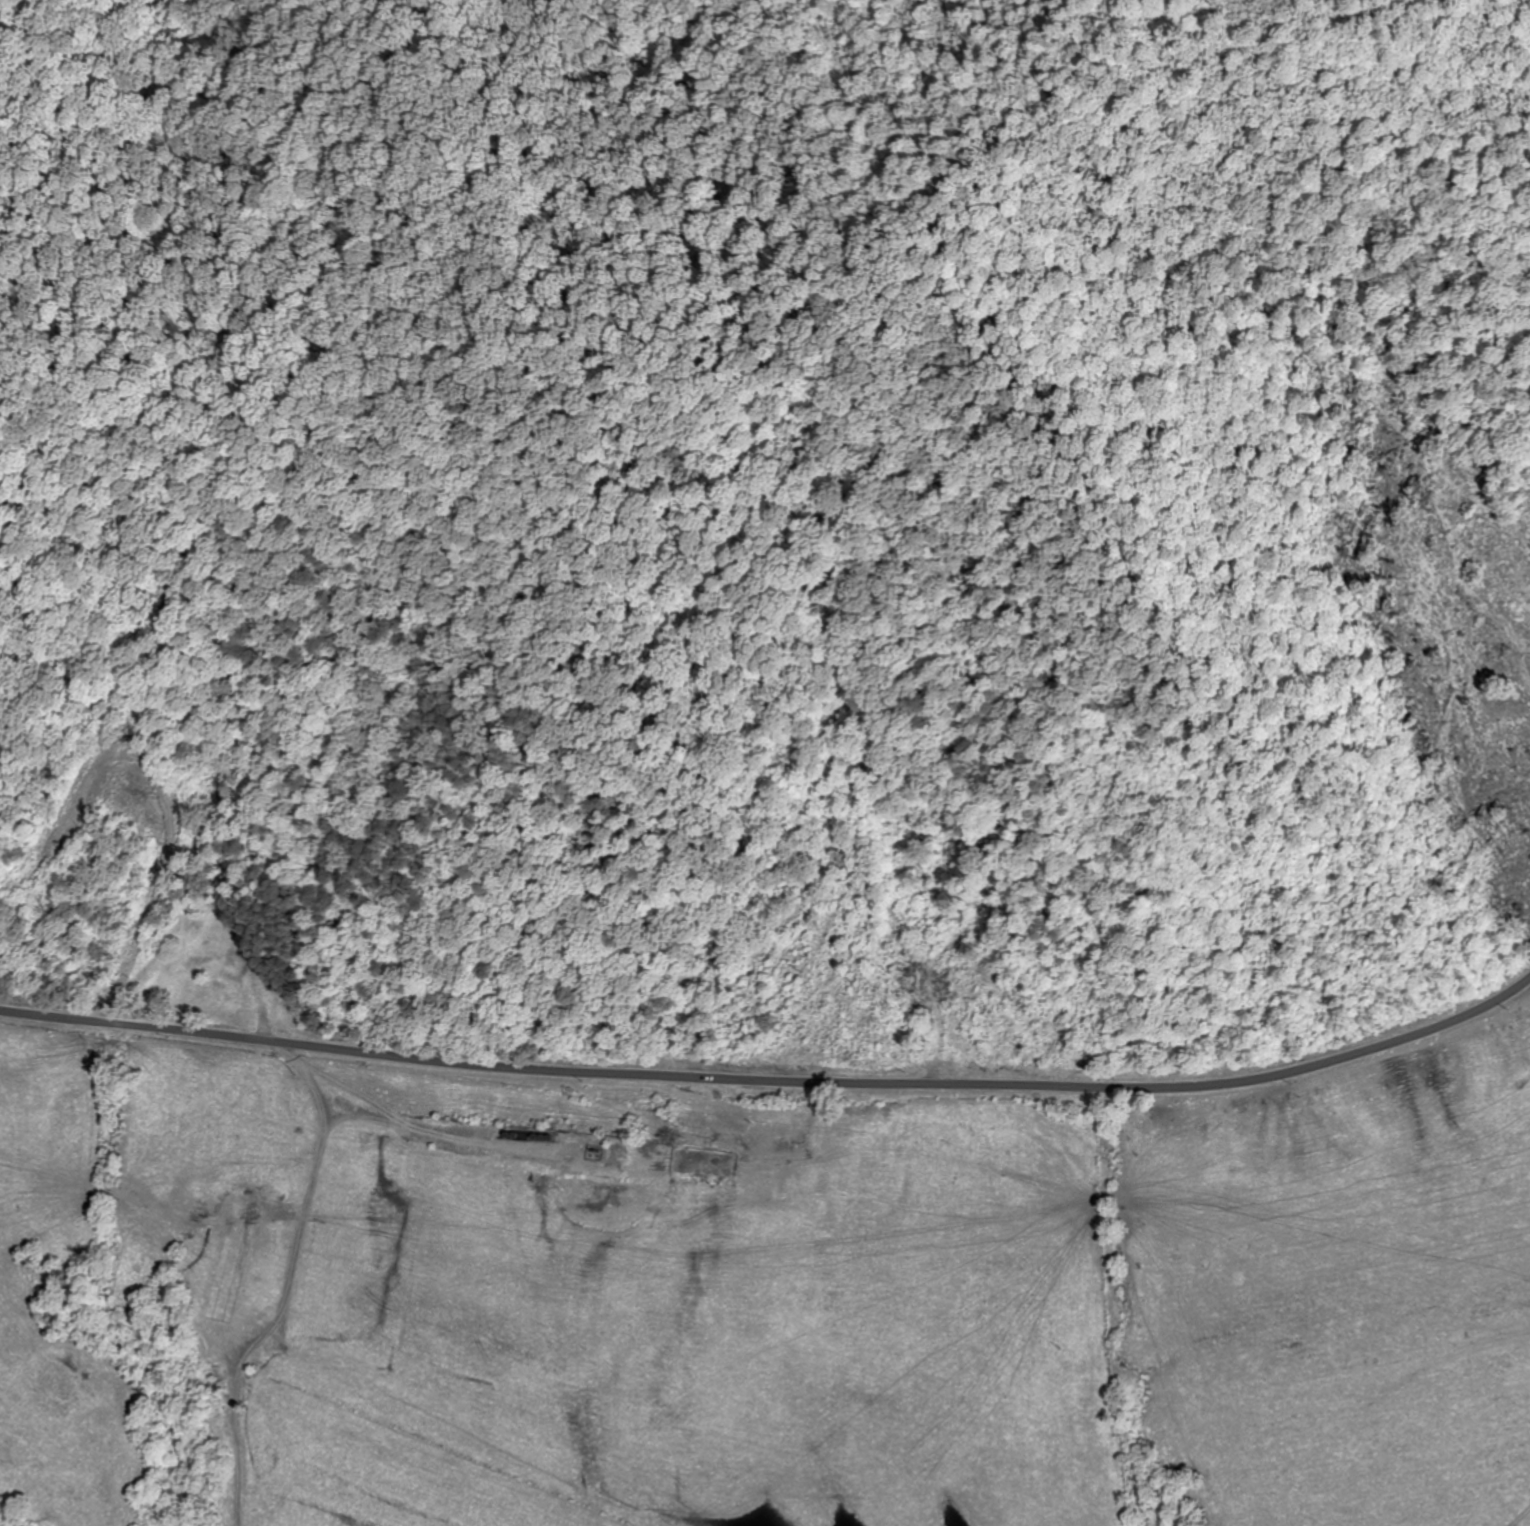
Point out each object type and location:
building: (228, 991)
building: (970, 1044)
road: (773, 1082)
building: (578, 1151)
building: (227, 1263)

